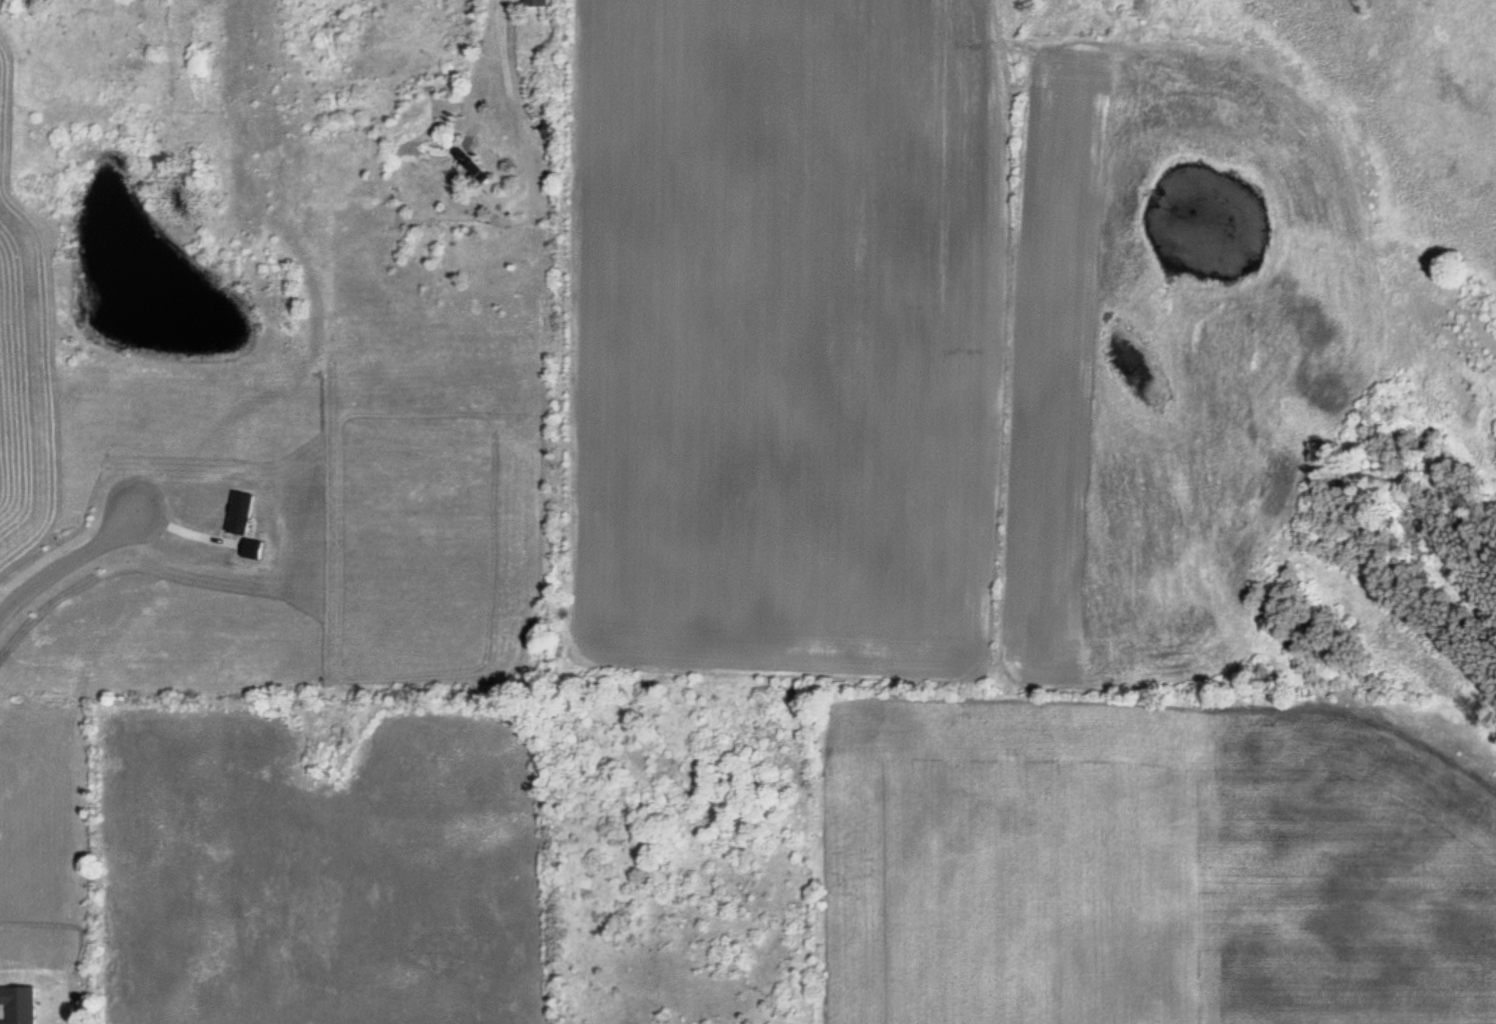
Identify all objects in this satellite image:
building: (535, 2)
building: (467, 164)
road: (67, 560)

